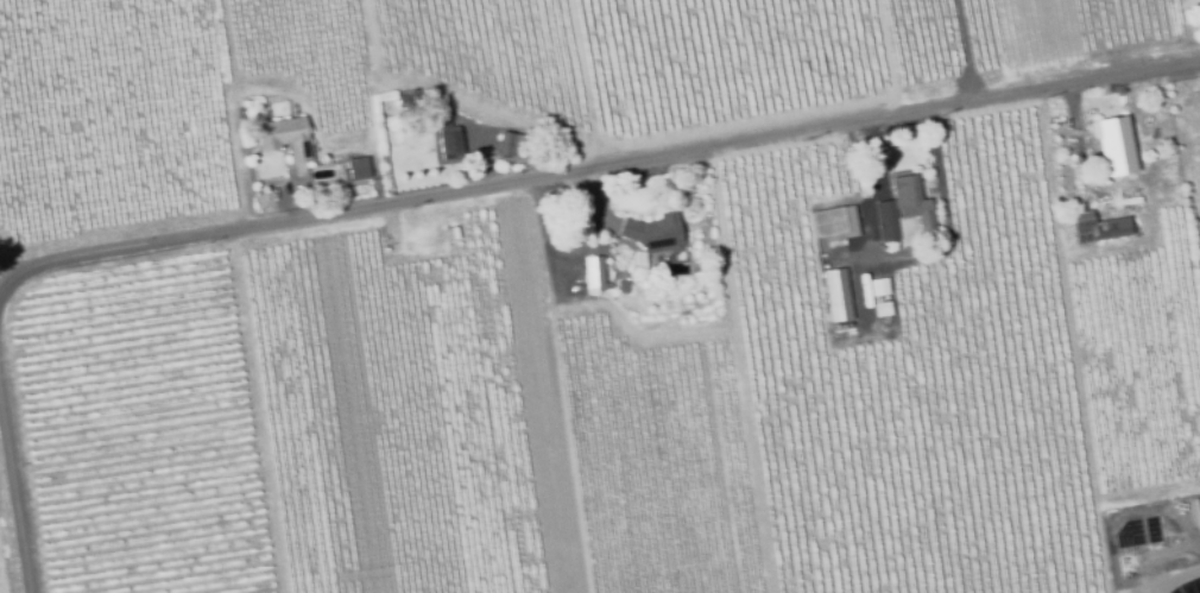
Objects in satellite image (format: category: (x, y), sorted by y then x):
building: (409, 97)
building: (282, 138)
building: (448, 140)
building: (509, 145)
building: (1107, 149)
building: (354, 170)
road: (599, 170)
building: (901, 208)
building: (826, 222)
building: (1098, 227)
building: (904, 233)
building: (652, 234)
building: (827, 254)
building: (637, 259)
building: (594, 275)
building: (621, 288)
building: (879, 288)
building: (833, 295)
building: (880, 308)
building: (570, 354)
building: (583, 395)
road: (13, 486)
road: (1176, 576)

